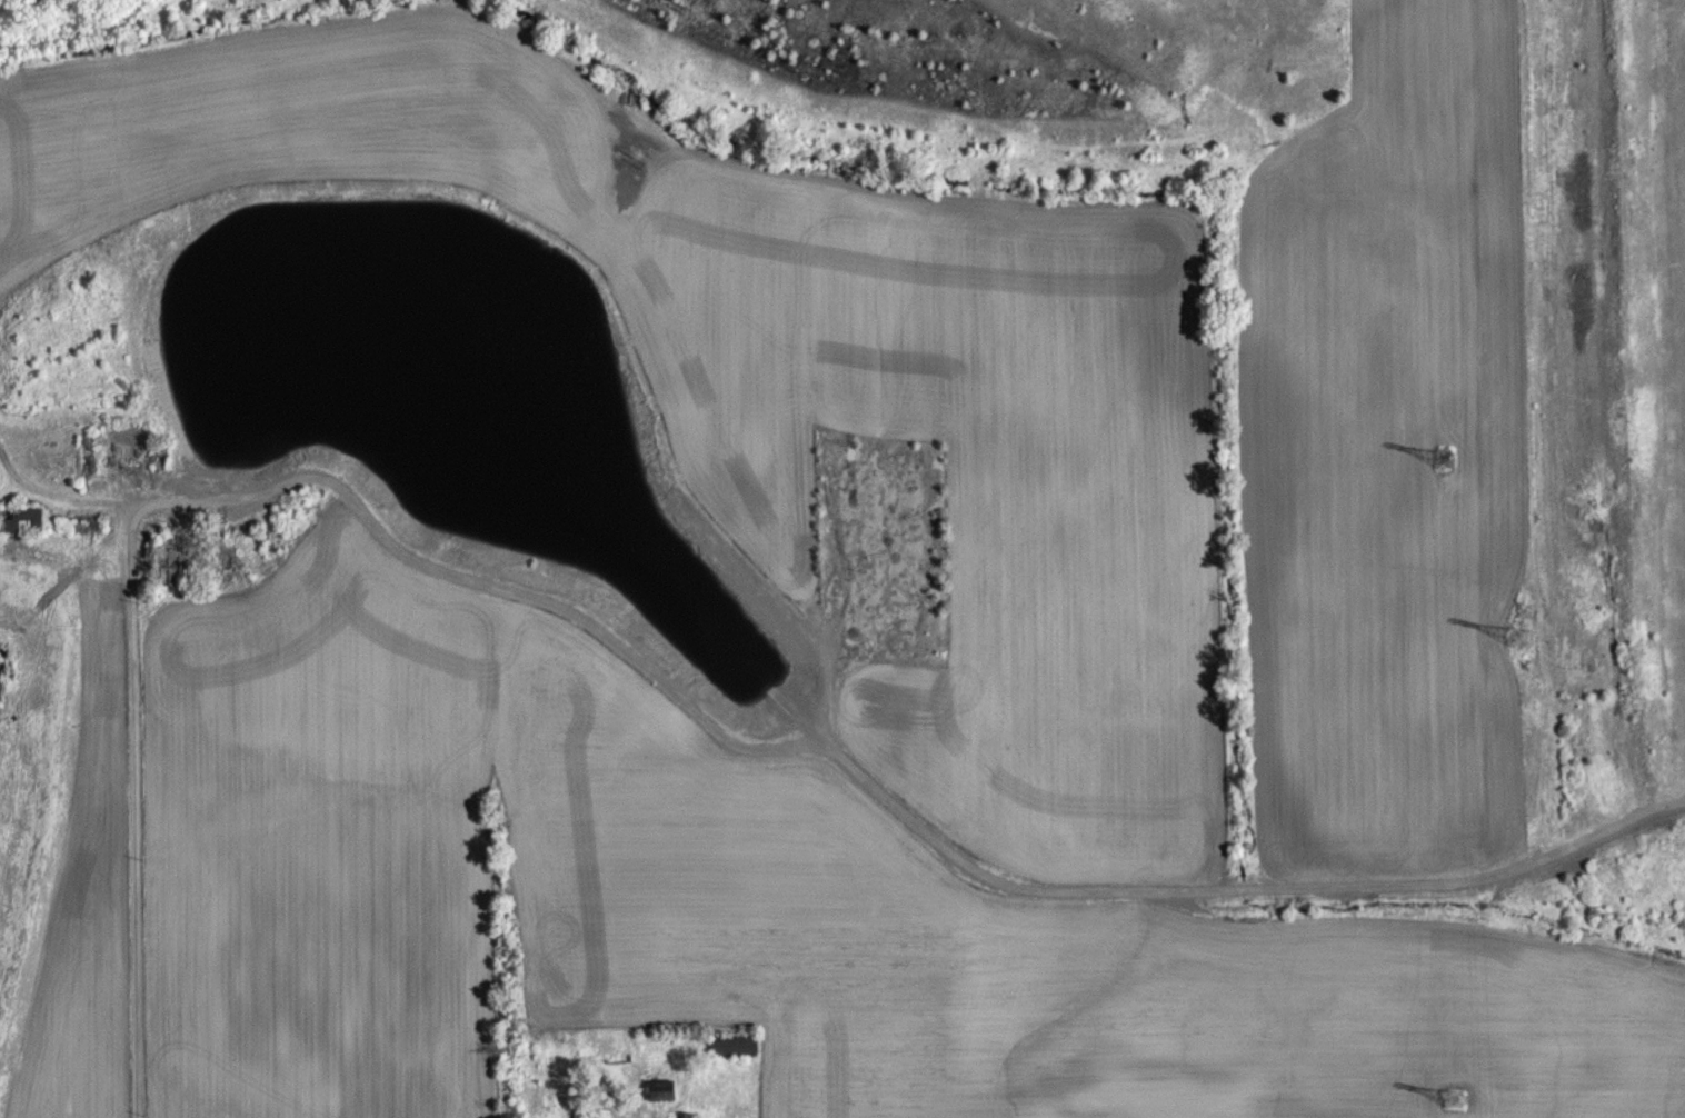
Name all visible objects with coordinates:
power tower: (1445, 451)
building: (22, 518)
building: (24, 531)
building: (168, 559)
power tower: (1522, 636)
road: (136, 812)
building: (736, 1058)
power tower: (1459, 1094)
building: (662, 1102)
building: (580, 1117)

